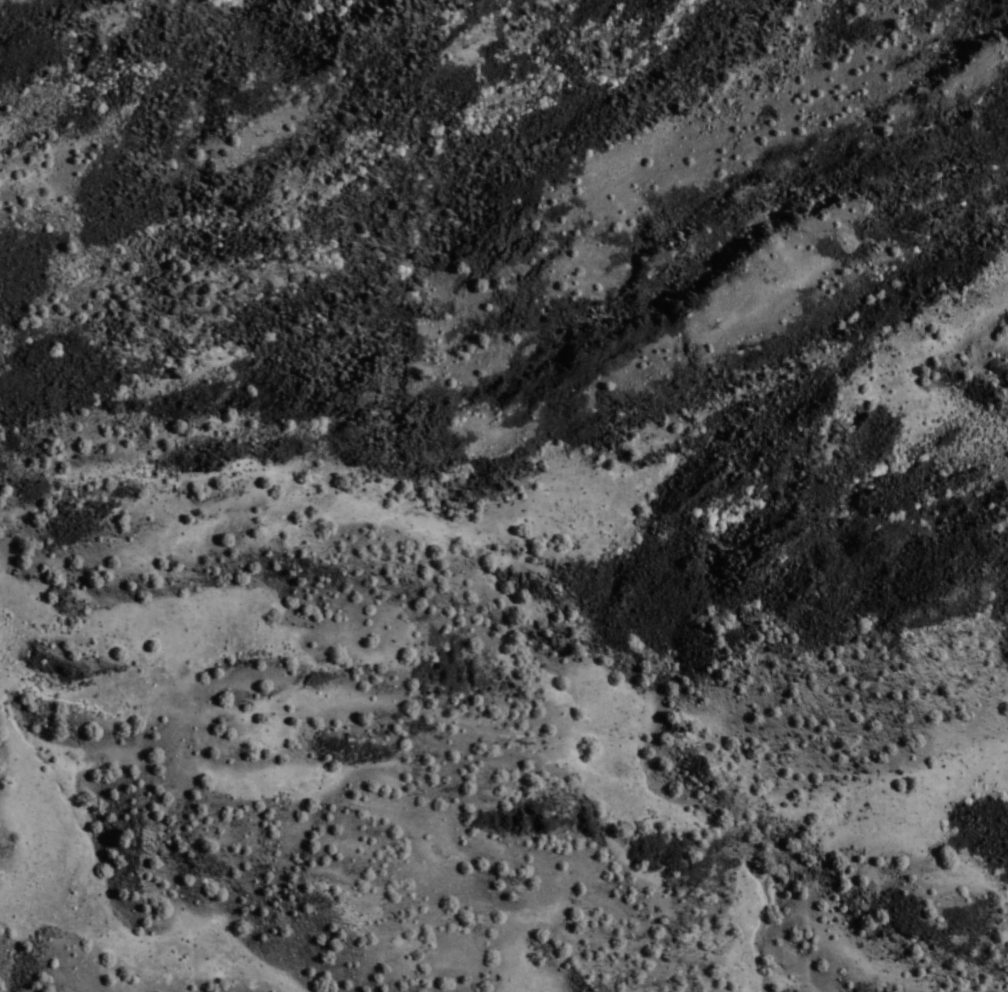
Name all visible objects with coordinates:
road: (503, 472)

